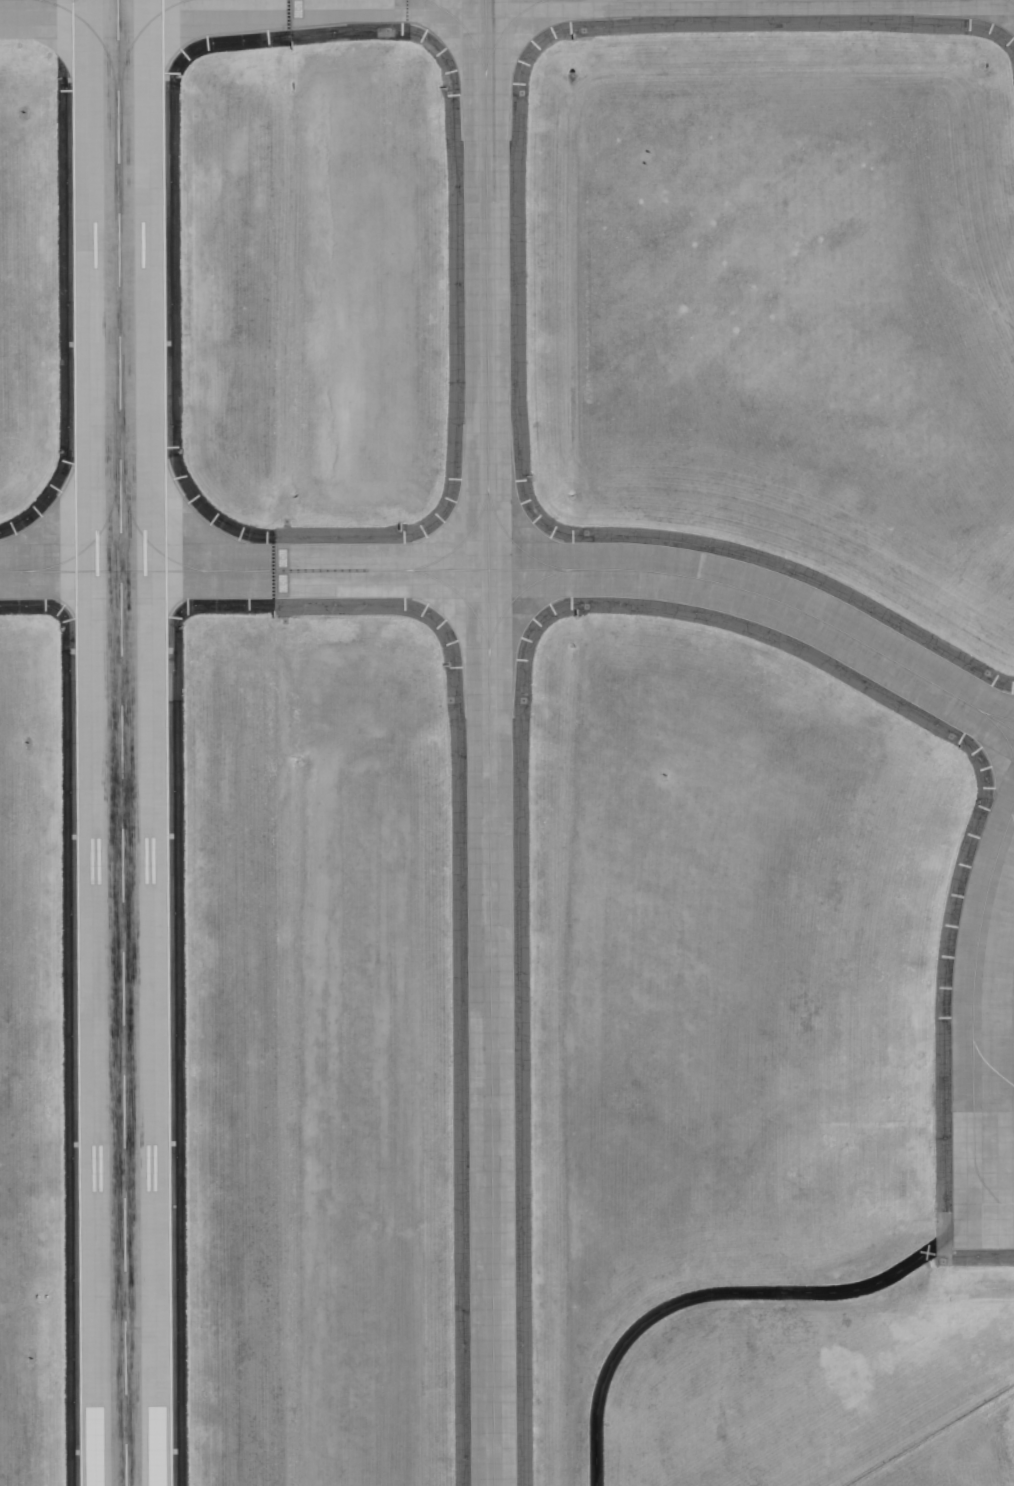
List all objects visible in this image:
airport taxiway: (1009, 2)
airport taxiway: (525, 570)
airport taxiway: (1005, 720)
airport taxiway: (1005, 742)
airport runway: (120, 743)
airport taxiway: (487, 743)
airport: (507, 743)
airport taxiway: (1012, 821)
airport taxiway: (974, 1005)
airport apron: (984, 1039)
airport taxiway: (994, 1072)
road: (712, 1294)

